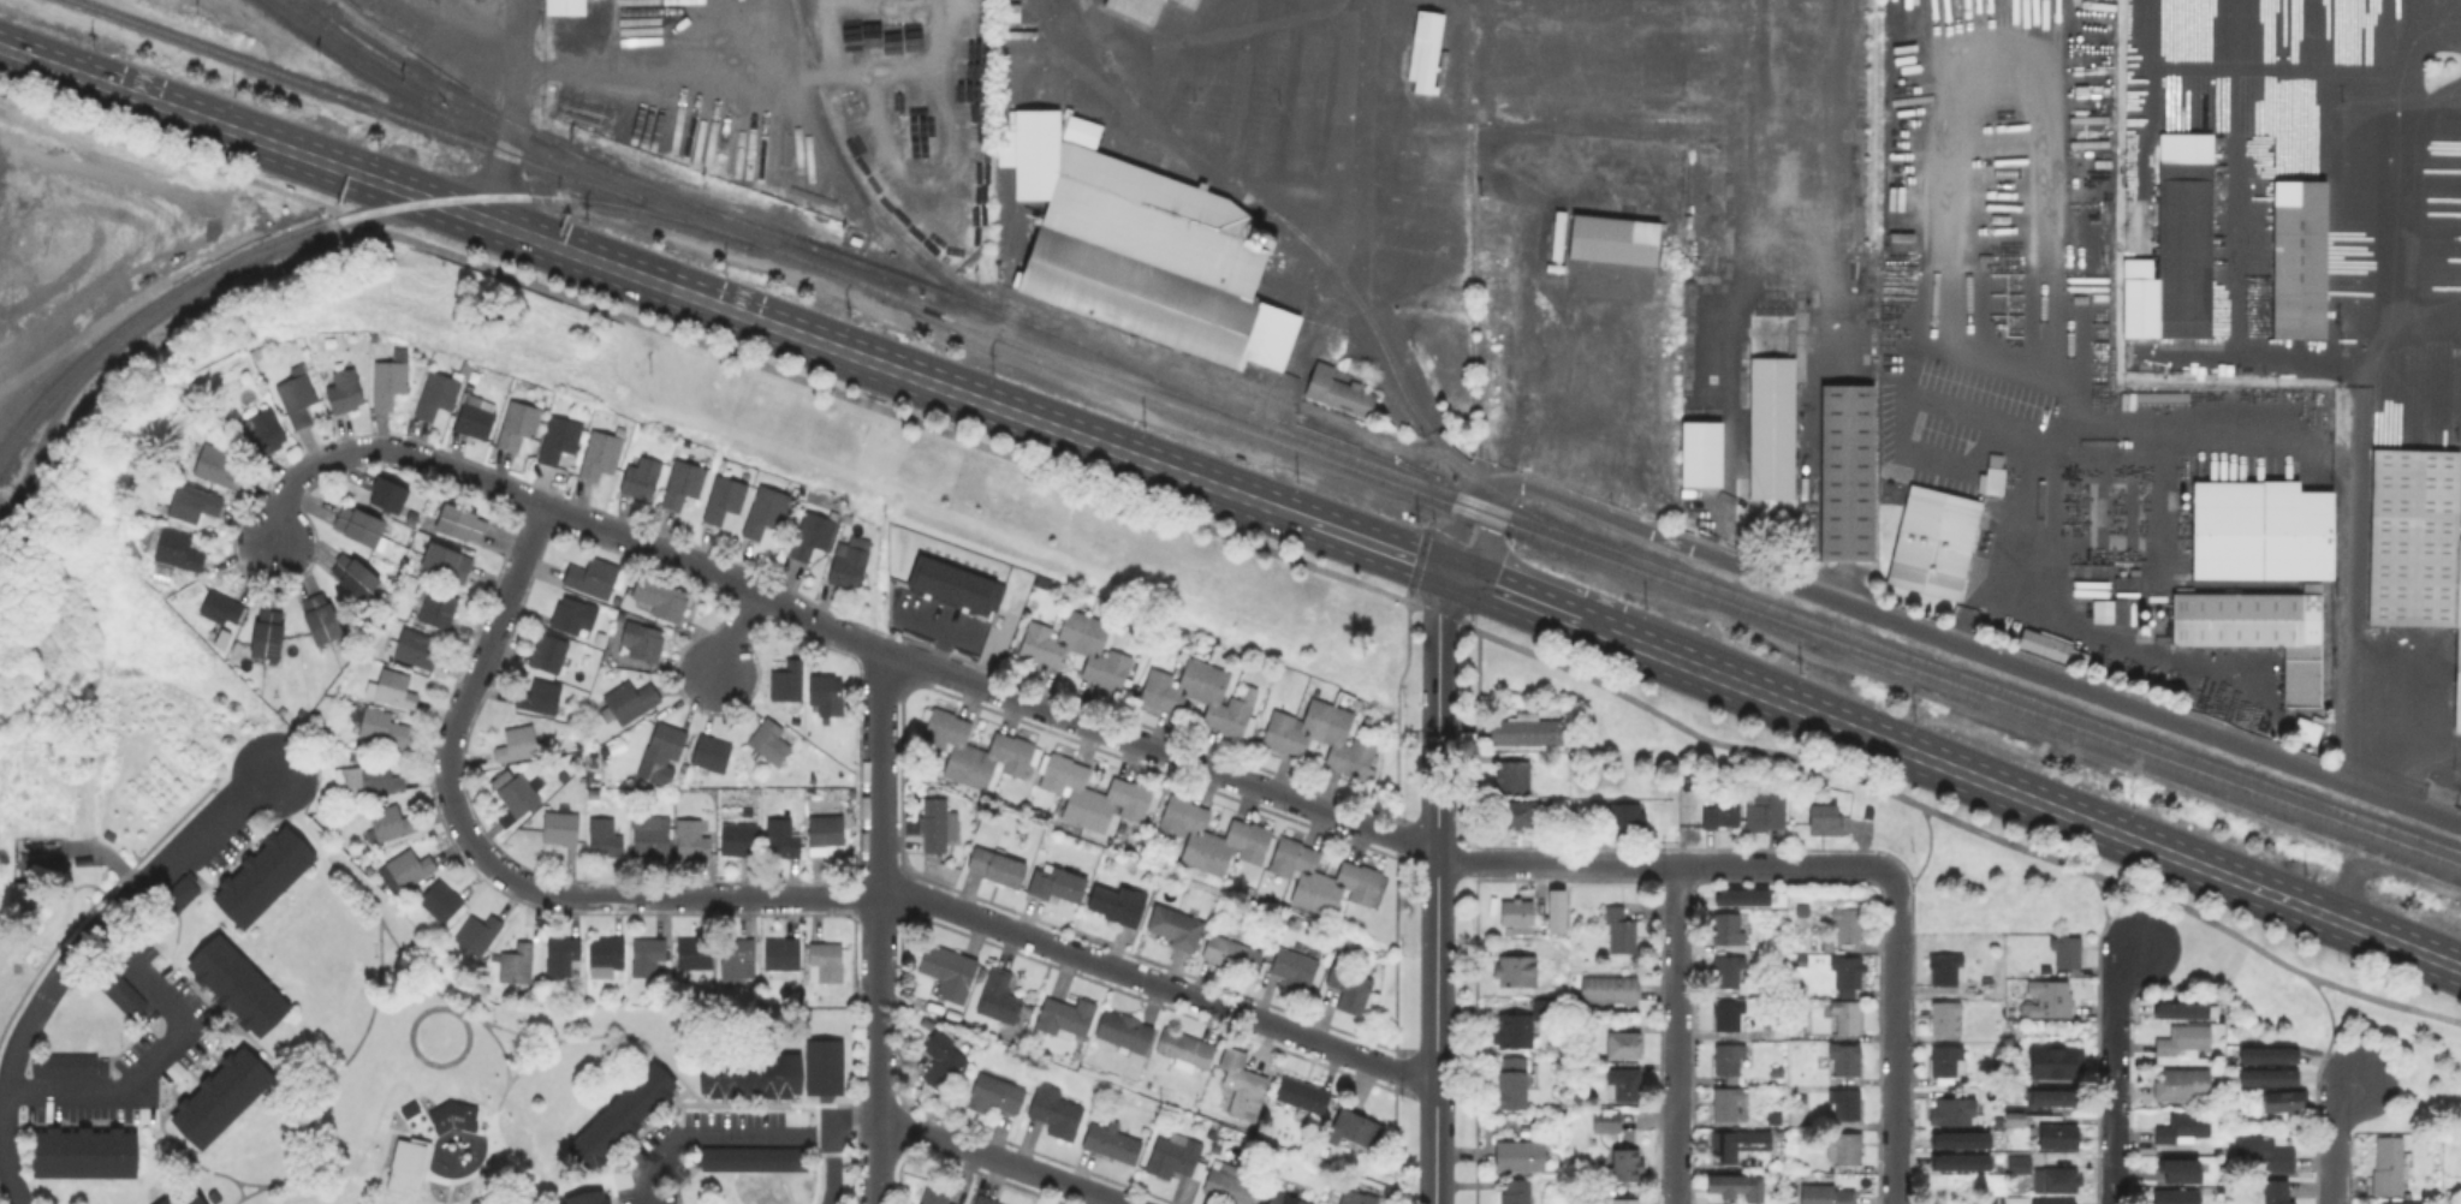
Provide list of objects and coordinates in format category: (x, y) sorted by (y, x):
railway: (315, 6)
building: (564, 6)
building: (1148, 10)
road: (456, 32)
building: (1426, 50)
road: (2233, 103)
road: (511, 112)
railway: (442, 114)
road: (1333, 118)
railway: (870, 205)
railway: (329, 219)
railway: (763, 227)
building: (1611, 238)
building: (2178, 244)
building: (1143, 251)
building: (2301, 262)
road: (1366, 268)
road: (631, 274)
road: (701, 342)
road: (2266, 346)
building: (390, 381)
building: (345, 388)
building: (1339, 391)
building: (433, 394)
railway: (1407, 394)
building: (298, 398)
road: (1422, 400)
building: (1776, 409)
road: (1995, 418)
road: (2360, 418)
building: (471, 421)
building: (518, 423)
building: (264, 430)
building: (620, 430)
road: (1509, 433)
building: (560, 437)
railway: (1267, 437)
building: (1699, 453)
building: (598, 454)
building: (219, 466)
building: (1848, 475)
building: (1990, 475)
building: (642, 476)
building: (683, 482)
building: (387, 495)
building: (724, 497)
building: (190, 502)
building: (766, 511)
building: (833, 514)
building: (460, 521)
road: (1460, 525)
building: (359, 526)
building: (813, 534)
building: (2260, 534)
road: (1486, 535)
road: (1359, 538)
building: (1931, 541)
building: (2415, 544)
road: (2017, 548)
building: (179, 549)
building: (447, 562)
building: (845, 565)
traffic signals: (1455, 574)
building: (356, 577)
building: (593, 577)
road: (1413, 580)
building: (959, 588)
railway: (1734, 591)
building: (2088, 592)
building: (660, 600)
road: (1435, 604)
road: (1536, 604)
building: (221, 607)
building: (439, 607)
building: (2108, 610)
building: (575, 614)
building: (322, 618)
road: (831, 627)
building: (2254, 630)
road: (738, 632)
building: (268, 633)
building: (641, 639)
building: (415, 646)
building: (2051, 646)
building: (1078, 648)
road: (1974, 649)
building: (548, 651)
building: (787, 683)
building: (394, 690)
building: (826, 695)
building: (541, 697)
building: (1201, 697)
building: (629, 701)
building: (826, 719)
building: (384, 727)
building: (2304, 728)
building: (1528, 732)
building: (769, 740)
building: (1324, 740)
railway: (2080, 741)
building: (518, 744)
building: (665, 744)
building: (974, 749)
building: (712, 753)
road: (2415, 757)
building: (1516, 776)
building: (380, 777)
building: (1090, 792)
building: (518, 794)
road: (2039, 803)
building: (1766, 811)
building: (1518, 812)
building: (1722, 813)
building: (1627, 816)
building: (391, 821)
building: (1825, 821)
road: (1960, 821)
building: (935, 823)
building: (560, 828)
building: (826, 830)
building: (1212, 835)
building: (604, 836)
building: (783, 836)
building: (692, 838)
building: (738, 838)
building: (652, 839)
road: (1927, 856)
road: (1674, 864)
building: (410, 865)
building: (997, 866)
building: (261, 874)
building: (1321, 878)
building: (1059, 886)
road: (1437, 887)
building: (24, 895)
building: (172, 895)
building: (1741, 896)
road: (779, 898)
building: (441, 900)
building: (1117, 905)
building: (1555, 908)
building: (1516, 912)
road: (2108, 916)
building: (1849, 922)
road: (879, 926)
building: (1177, 926)
building: (1728, 928)
building: (1621, 929)
building: (478, 931)
building: (2068, 950)
road: (70, 953)
building: (783, 953)
building: (561, 954)
building: (695, 954)
building: (736, 954)
building: (1231, 954)
building: (605, 956)
building: (647, 956)
building: (827, 959)
building: (518, 964)
building: (1295, 968)
building: (1729, 970)
building: (1847, 971)
building: (1951, 971)
building: (949, 972)
building: (1516, 972)
building: (111, 982)
building: (236, 983)
building: (1349, 988)
building: (1611, 989)
building: (999, 996)
building: (2050, 997)
road: (454, 1007)
building: (1809, 1008)
building: (2182, 1008)
road: (470, 1014)
building: (1728, 1014)
building: (1848, 1015)
building: (1945, 1015)
building: (1066, 1018)
building: (927, 1024)
building: (1522, 1025)
building: (1125, 1031)
road: (2331, 1031)
road: (518, 1035)
road: (1676, 1035)
road: (636, 1036)
building: (2184, 1039)
building: (1623, 1044)
building: (1187, 1048)
road: (1896, 1048)
road: (157, 1054)
building: (2266, 1054)
building: (1729, 1056)
building: (1847, 1057)
building: (940, 1060)
building: (65, 1062)
building: (1948, 1062)
building: (821, 1063)
building: (2057, 1065)
building: (1051, 1067)
road: (2114, 1071)
building: (749, 1072)
building: (2270, 1077)
building: (1514, 1081)
building: (2183, 1083)
road: (333, 1084)
building: (1623, 1084)
building: (1242, 1087)
building: (219, 1093)
building: (993, 1093)
building: (1303, 1093)
building: (2056, 1096)
road: (2347, 1097)
building: (1726, 1102)
building: (1847, 1102)
building: (2287, 1102)
road: (837, 1105)
building: (1056, 1111)
building: (1954, 1111)
building: (448, 1113)
building: (619, 1113)
building: (1607, 1121)
building: (2015, 1121)
road: (457, 1125)
building: (2184, 1128)
building: (1354, 1130)
building: (2058, 1136)
road: (748, 1137)
building: (1958, 1139)
building: (1112, 1143)
building: (1737, 1146)
building: (1845, 1149)
building: (83, 1150)
building: (2264, 1151)
road: (190, 1154)
building: (749, 1155)
road: (398, 1156)
building: (1173, 1156)
building: (1520, 1157)
road: (1000, 1158)
road: (2332, 1158)
building: (1960, 1162)
building: (1628, 1164)
building: (2020, 1164)
building: (2390, 1166)
road: (406, 1168)
building: (2181, 1169)
building: (2059, 1179)
road: (275, 1184)
building: (1230, 1186)
building: (1736, 1187)
building: (937, 1190)
road: (448, 1191)
building: (1516, 1191)
road: (238, 1192)
building: (2278, 1192)
building: (179, 1194)
building: (1826, 1194)
building: (585, 1197)
building: (1356, 1197)
building: (2177, 1197)
building: (1283, 1199)
building: (1998, 1199)
building: (983, 1200)
building: (1625, 1200)
building: (2055, 1202)
building: (2395, 1203)

